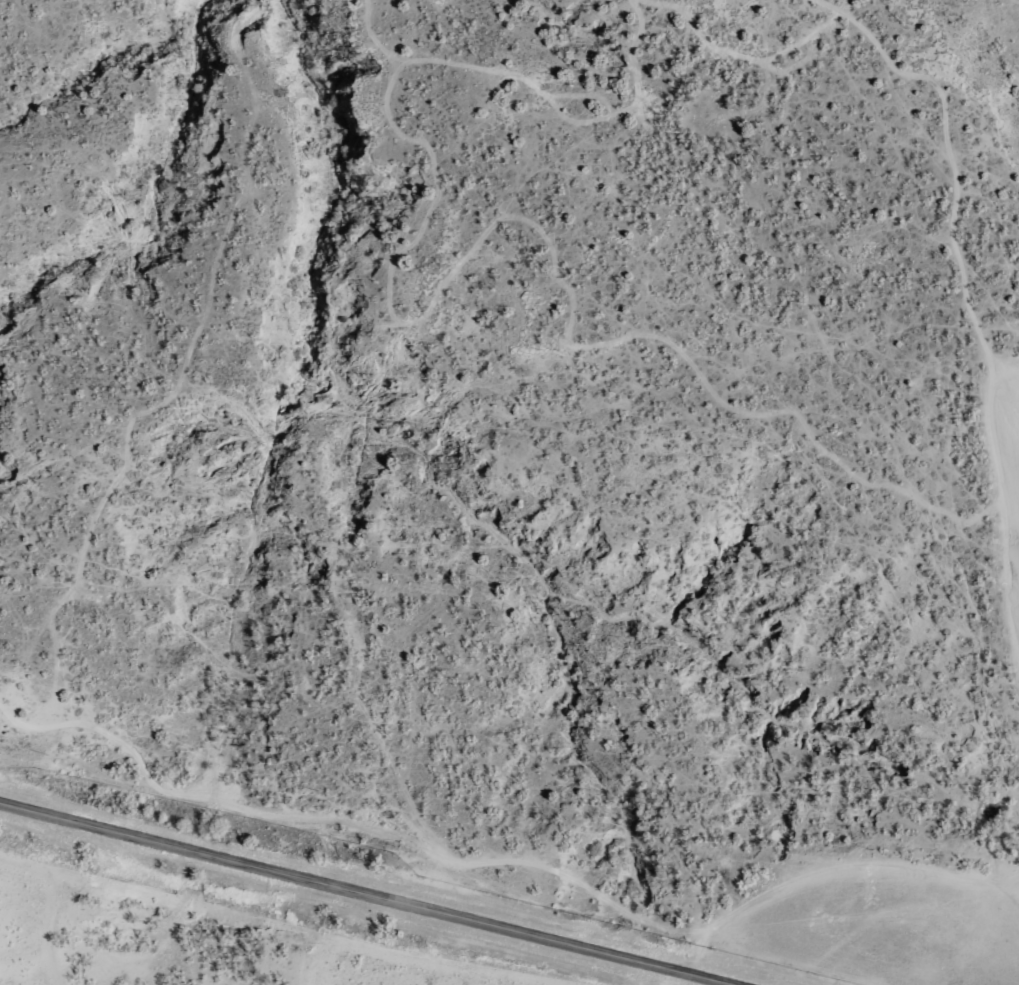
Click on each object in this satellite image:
road: (369, 893)

